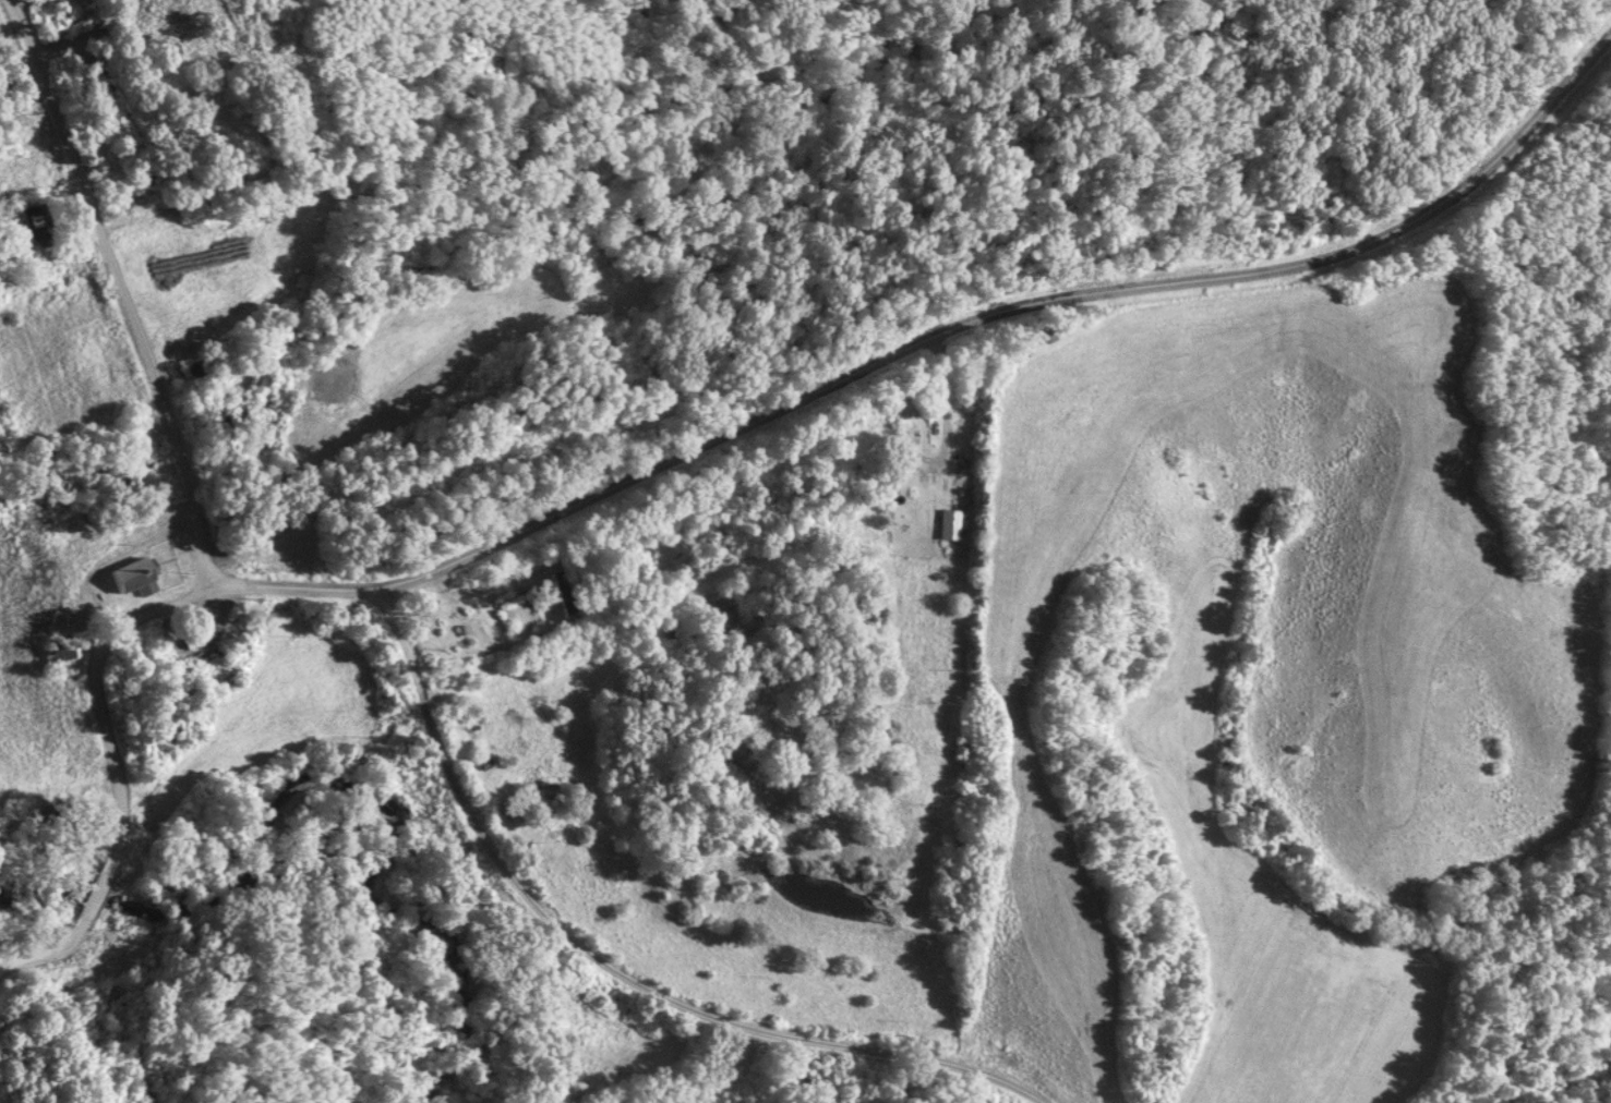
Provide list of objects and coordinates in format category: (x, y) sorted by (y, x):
building: (181, 38)
building: (40, 225)
road: (120, 286)
road: (930, 338)
building: (136, 579)
building: (565, 593)
building: (202, 645)
road: (111, 767)
building: (546, 800)
road: (610, 967)

